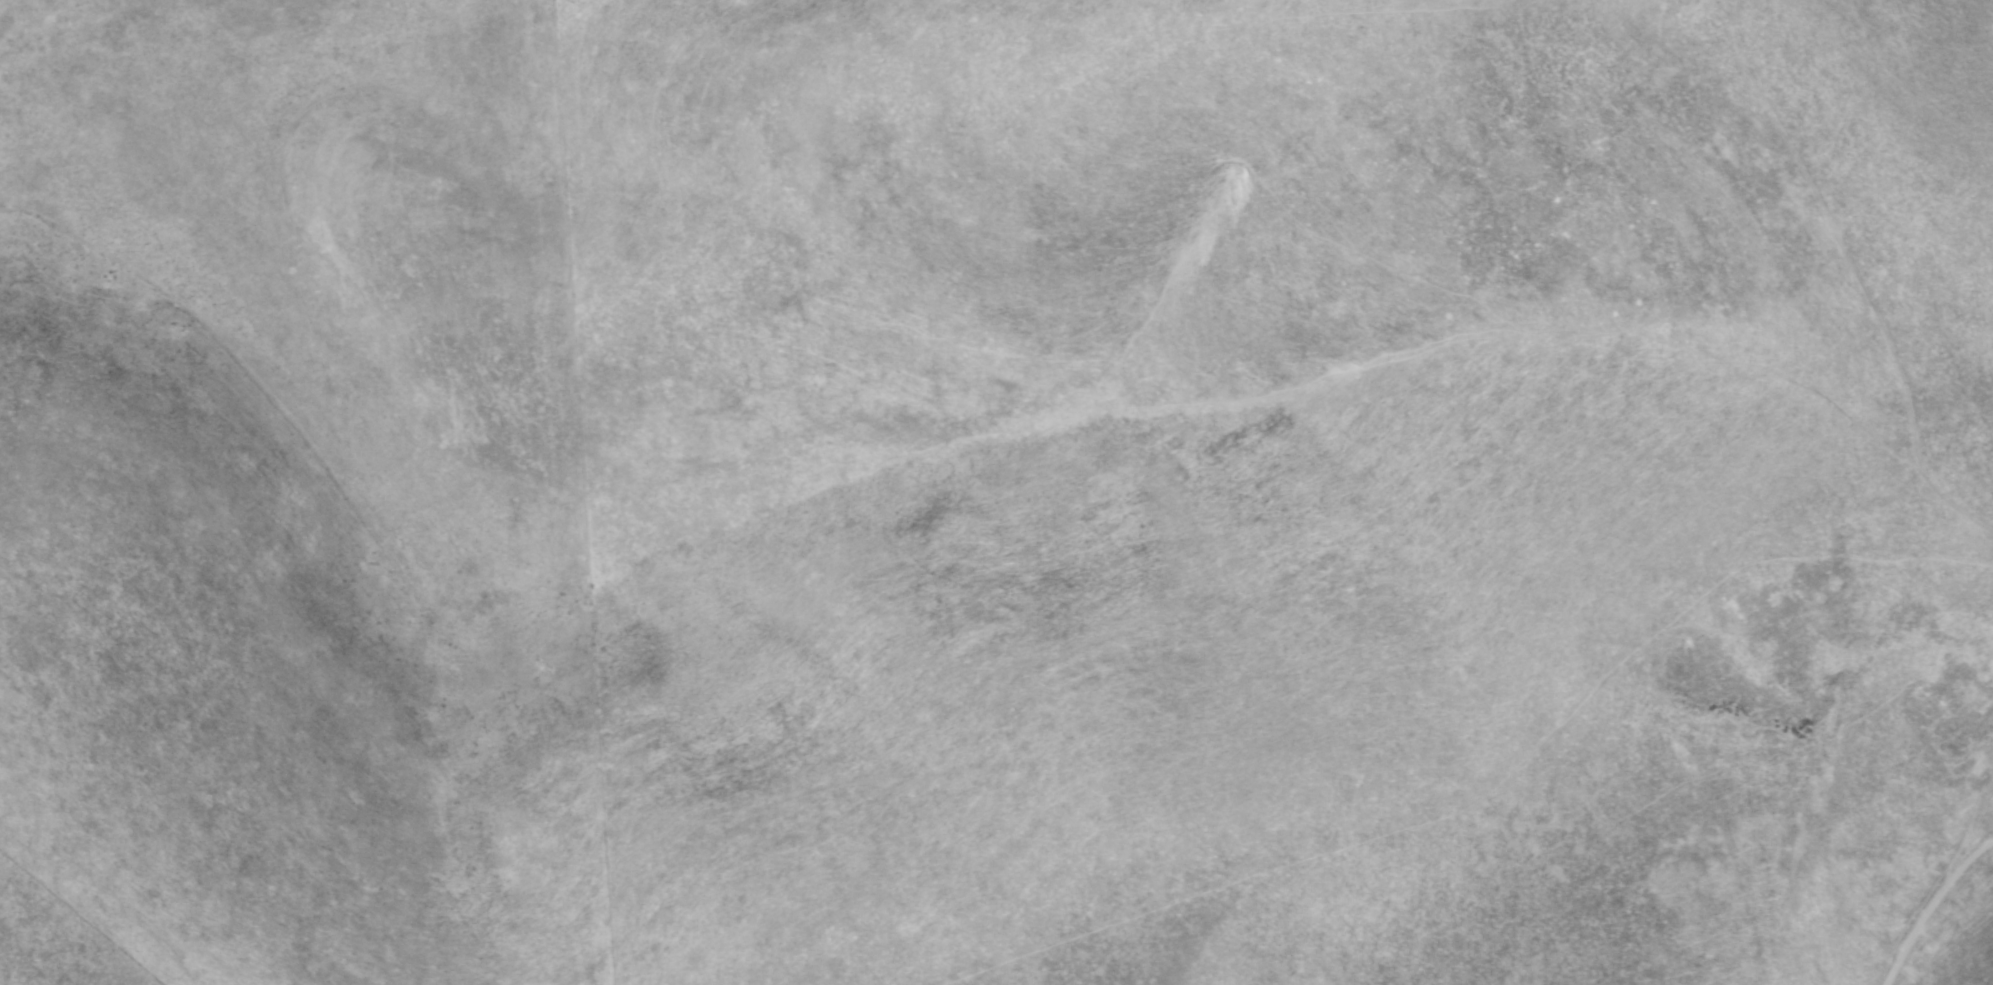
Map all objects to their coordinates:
road: (1948, 929)

